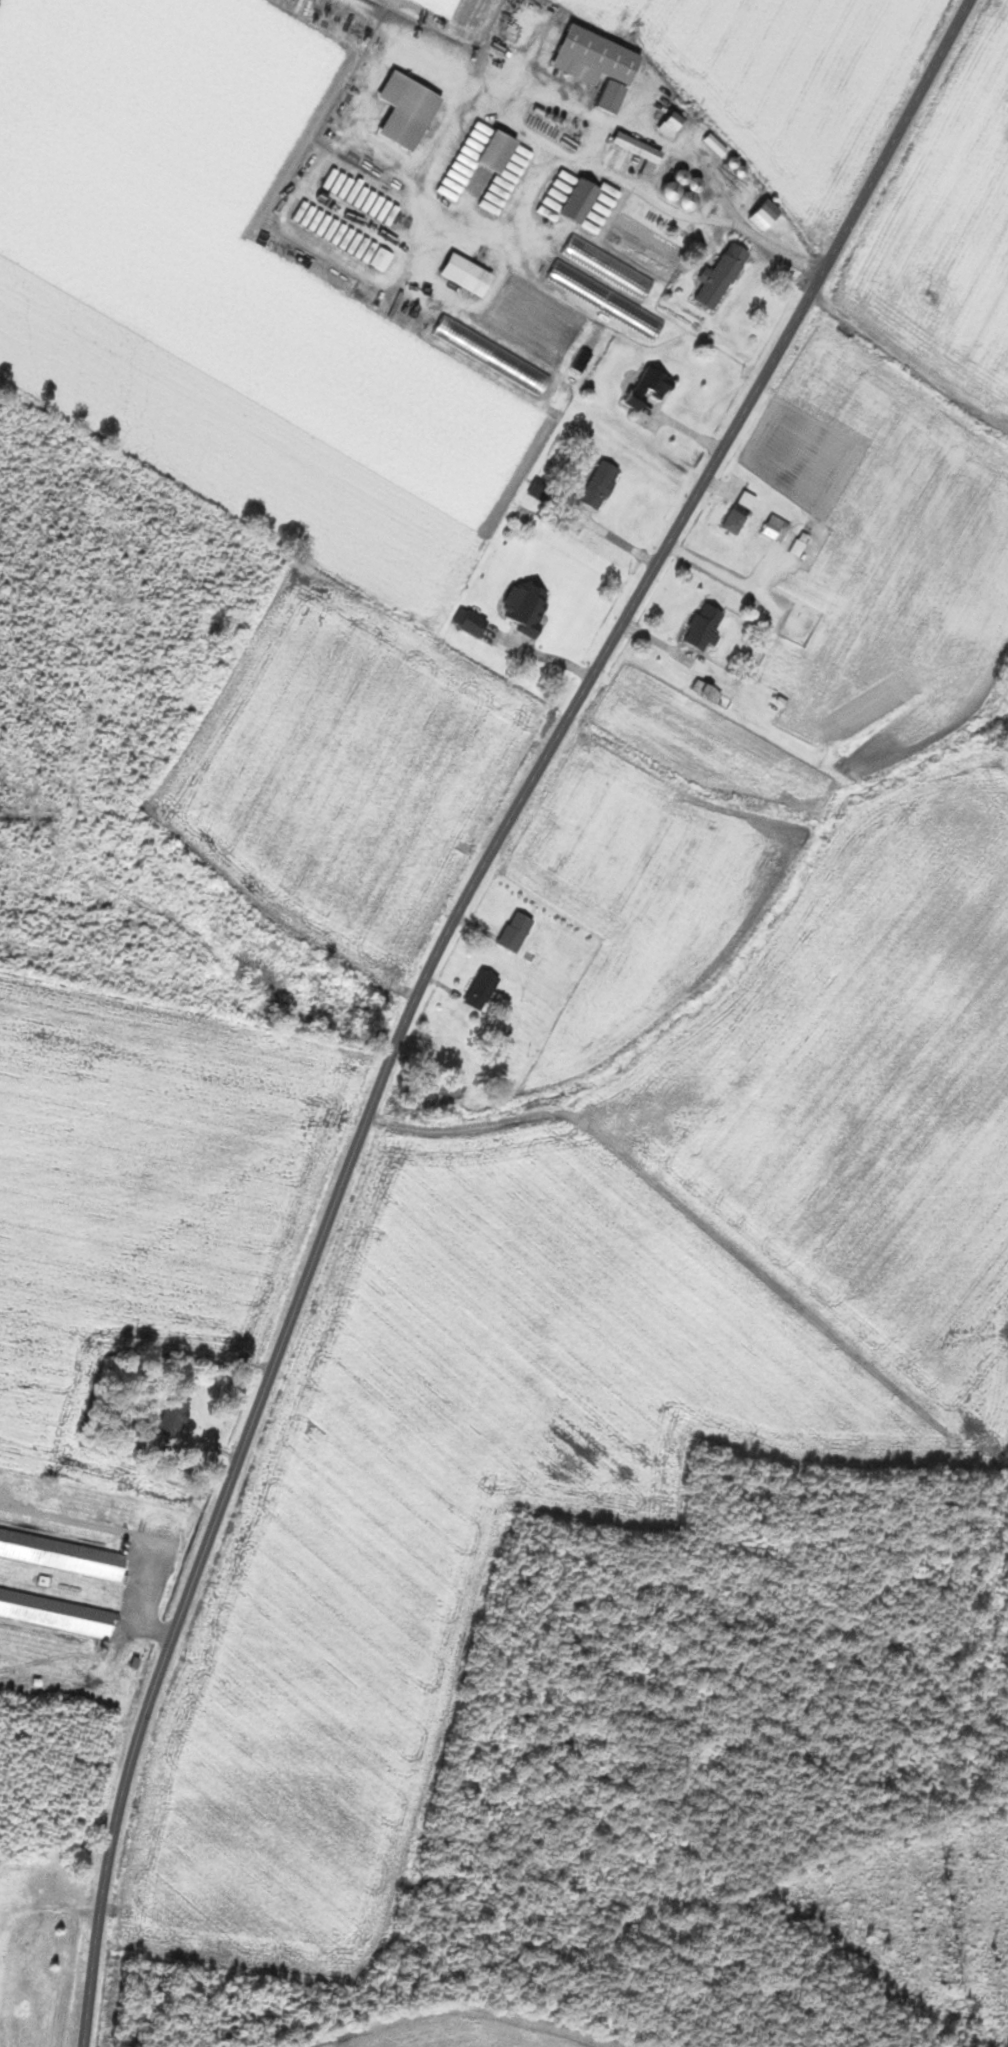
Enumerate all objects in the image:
road: (398, 27)
building: (601, 65)
building: (410, 110)
building: (675, 125)
building: (632, 150)
building: (501, 151)
building: (739, 165)
road: (632, 172)
building: (687, 189)
building: (593, 205)
building: (769, 215)
building: (610, 267)
building: (470, 275)
building: (723, 276)
building: (570, 278)
road: (909, 359)
building: (652, 386)
building: (603, 483)
building: (749, 500)
building: (737, 521)
building: (778, 528)
building: (801, 543)
building: (530, 606)
building: (476, 623)
building: (708, 626)
building: (710, 689)
building: (518, 931)
road: (422, 980)
building: (484, 989)
building: (177, 1416)
building: (63, 1553)
building: (58, 1611)
building: (53, 1885)

